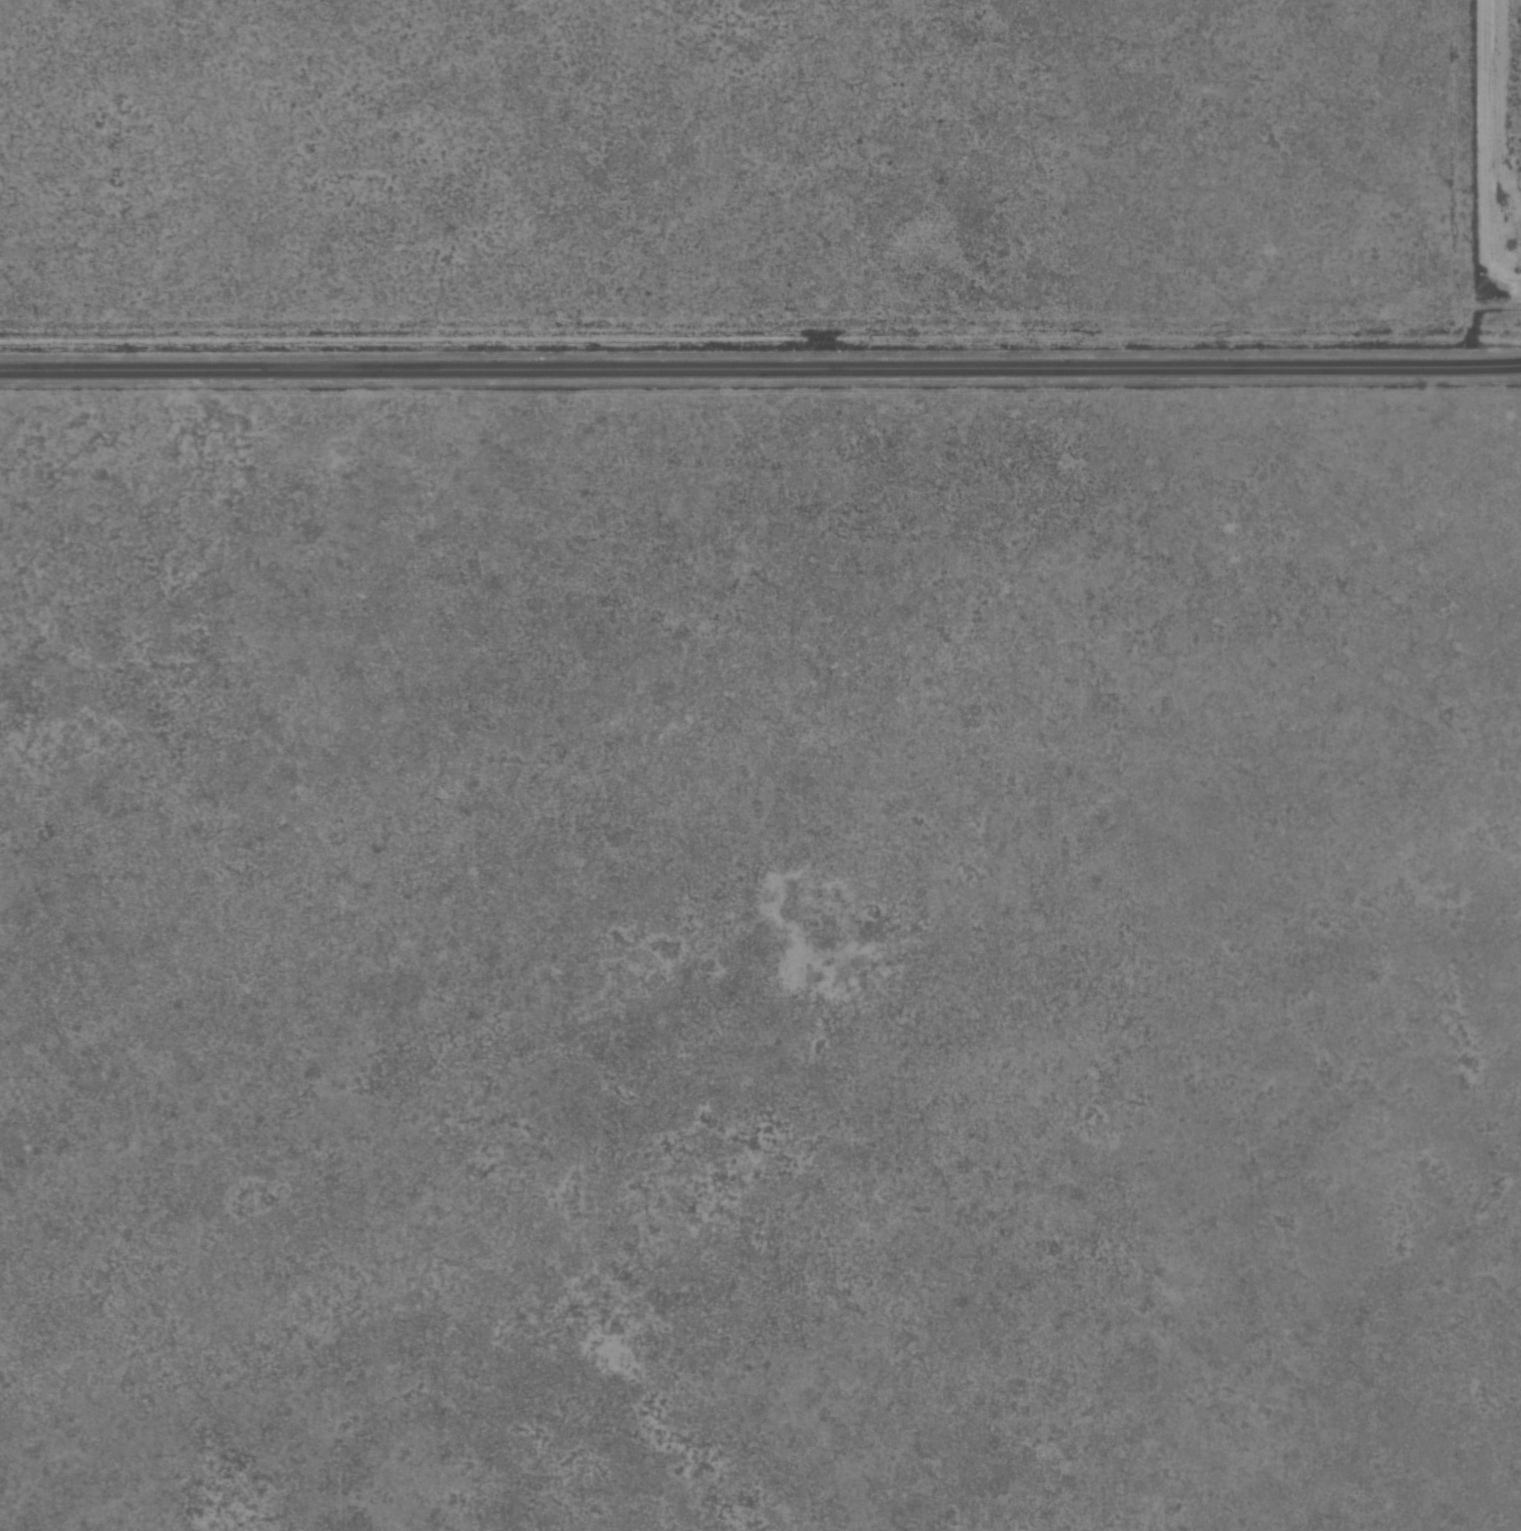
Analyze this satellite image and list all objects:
airport: (1497, 147)
road: (760, 360)

